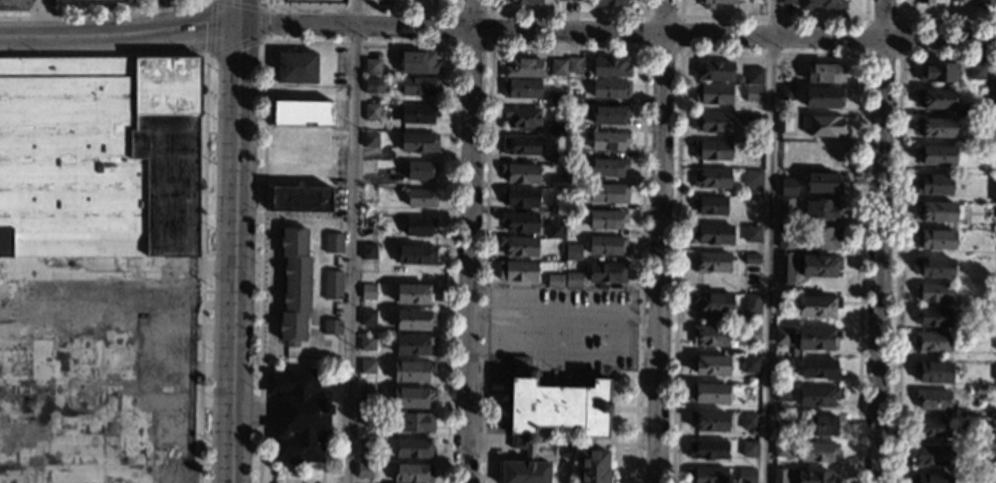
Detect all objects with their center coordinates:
building: (562, 0)
building: (573, 0)
building: (965, 0)
building: (97, 1)
building: (526, 1)
building: (787, 1)
building: (924, 1)
building: (962, 1)
building: (985, 2)
building: (609, 3)
building: (714, 3)
road: (239, 4)
building: (823, 4)
road: (238, 11)
road: (162, 15)
road: (103, 16)
road: (262, 22)
traffic signals: (238, 23)
road: (209, 27)
road: (617, 32)
road: (119, 34)
road: (237, 40)
road: (234, 45)
road: (103, 53)
road: (206, 56)
building: (417, 62)
building: (574, 65)
building: (372, 66)
building: (558, 67)
building: (610, 67)
building: (296, 68)
building: (524, 68)
building: (976, 70)
building: (714, 71)
building: (939, 72)
building: (787, 73)
building: (825, 73)
building: (754, 76)
building: (739, 79)
building: (372, 84)
building: (420, 86)
building: (521, 89)
building: (611, 89)
building: (992, 92)
building: (753, 93)
building: (786, 93)
building: (713, 94)
building: (823, 97)
building: (575, 99)
building: (936, 99)
building: (556, 100)
building: (975, 110)
building: (371, 112)
building: (302, 113)
building: (418, 114)
building: (609, 115)
building: (522, 118)
building: (753, 118)
building: (575, 120)
building: (712, 122)
building: (786, 124)
building: (823, 126)
building: (935, 128)
building: (556, 129)
building: (370, 140)
building: (608, 141)
building: (419, 143)
building: (520, 145)
building: (753, 147)
building: (573, 150)
building: (712, 150)
building: (936, 155)
building: (98, 157)
building: (556, 159)
building: (995, 163)
building: (369, 166)
building: (608, 168)
building: (420, 170)
building: (520, 173)
building: (572, 174)
building: (711, 178)
building: (753, 178)
building: (556, 181)
building: (821, 182)
building: (934, 184)
building: (789, 186)
building: (993, 188)
building: (608, 193)
building: (368, 194)
building: (520, 197)
building: (420, 198)
building: (300, 199)
building: (573, 200)
building: (710, 205)
building: (785, 205)
building: (822, 209)
building: (940, 212)
building: (995, 218)
building: (607, 219)
building: (519, 221)
building: (368, 223)
building: (418, 227)
building: (555, 230)
building: (751, 233)
building: (712, 234)
building: (785, 237)
building: (822, 237)
building: (936, 239)
building: (994, 239)
road: (352, 241)
road: (469, 241)
road: (659, 241)
road: (769, 241)
road: (879, 241)
building: (332, 243)
building: (607, 245)
building: (519, 246)
building: (368, 251)
building: (572, 253)
building: (416, 254)
building: (751, 258)
building: (713, 262)
building: (820, 266)
building: (936, 267)
building: (995, 267)
road: (202, 269)
building: (785, 269)
road: (232, 270)
building: (517, 271)
building: (606, 272)
building: (573, 281)
building: (556, 283)
building: (294, 286)
building: (332, 286)
building: (368, 291)
building: (995, 291)
building: (933, 292)
building: (414, 294)
building: (713, 303)
building: (751, 303)
building: (784, 303)
building: (818, 306)
building: (367, 317)
building: (932, 317)
building: (411, 320)
building: (331, 328)
building: (709, 335)
building: (751, 335)
building: (782, 336)
building: (818, 339)
building: (932, 341)
building: (367, 342)
building: (995, 342)
building: (410, 345)
building: (781, 363)
building: (709, 365)
building: (749, 365)
building: (367, 367)
building: (819, 368)
building: (411, 372)
building: (934, 372)
building: (994, 372)
building: (366, 393)
building: (710, 393)
building: (749, 393)
building: (781, 393)
building: (817, 396)
building: (411, 398)
building: (933, 399)
building: (993, 400)
building: (298, 416)
building: (708, 421)
building: (749, 421)
building: (416, 423)
building: (554, 424)
building: (821, 425)
building: (930, 428)
building: (992, 428)
building: (413, 449)
building: (707, 449)
building: (748, 449)
building: (780, 449)
building: (817, 452)
building: (993, 455)
building: (929, 456)
building: (364, 470)
flagpole: (285, 472)
building: (412, 473)
building: (706, 475)
building: (746, 476)
building: (779, 476)
building: (814, 476)
building: (931, 478)
building: (992, 479)

